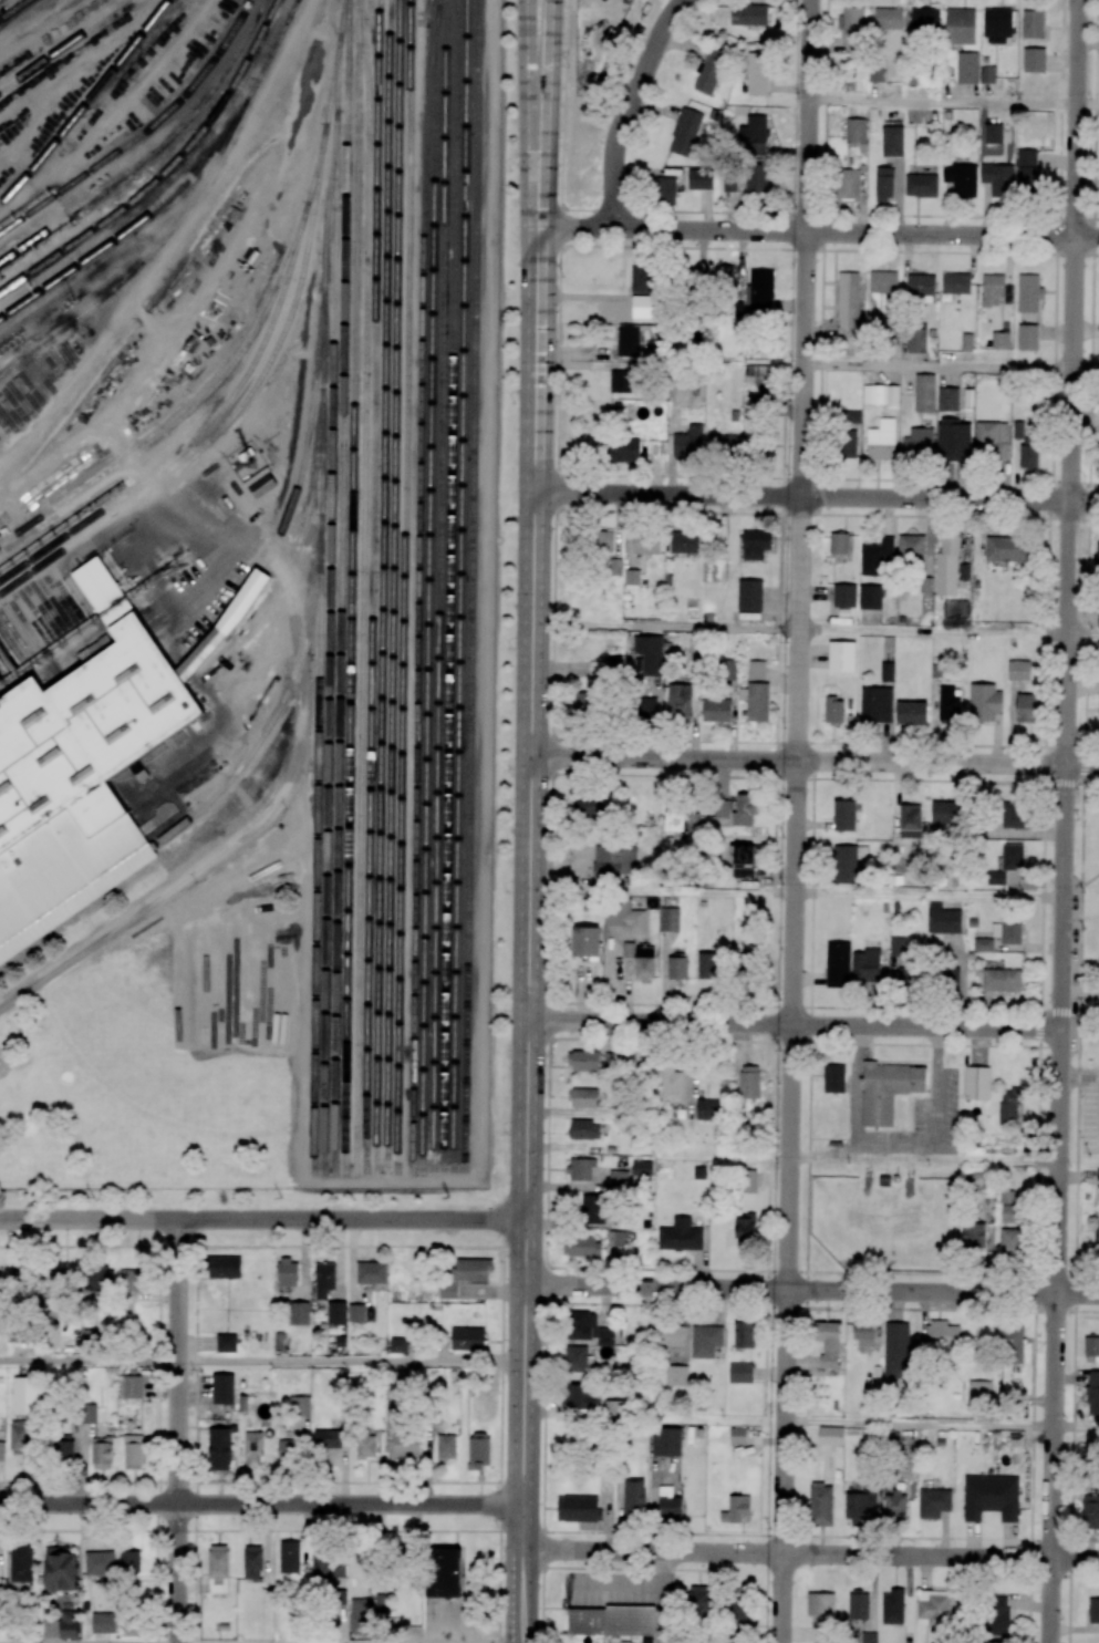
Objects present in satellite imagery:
railway: (15, 10)
railway: (436, 13)
building: (748, 14)
building: (889, 19)
building: (925, 20)
building: (851, 21)
building: (1033, 23)
railway: (341, 24)
building: (997, 25)
building: (960, 27)
railway: (65, 44)
railway: (272, 50)
building: (1034, 60)
building: (967, 68)
road: (527, 69)
road: (543, 69)
building: (709, 70)
building: (757, 73)
building: (875, 73)
building: (987, 74)
railway: (335, 85)
railway: (329, 100)
road: (943, 103)
railway: (85, 104)
road: (1088, 105)
road: (630, 107)
road: (822, 124)
building: (685, 130)
building: (856, 131)
building: (993, 133)
railway: (143, 134)
building: (751, 134)
railway: (153, 152)
building: (1027, 168)
railway: (164, 169)
building: (754, 175)
building: (699, 178)
building: (997, 178)
building: (727, 179)
building: (961, 179)
building: (847, 185)
building: (883, 185)
building: (921, 185)
railway: (309, 188)
building: (665, 192)
railway: (324, 211)
road: (829, 214)
railway: (137, 224)
road: (817, 232)
railway: (160, 241)
road: (566, 246)
road: (832, 249)
building: (724, 275)
building: (643, 279)
building: (883, 281)
building: (920, 283)
building: (955, 283)
building: (994, 290)
building: (758, 292)
building: (1028, 292)
building: (848, 309)
building: (1027, 337)
building: (626, 340)
building: (916, 340)
building: (999, 341)
building: (966, 342)
railway: (321, 354)
railway: (17, 359)
railway: (15, 361)
road: (939, 365)
road: (1086, 369)
building: (758, 376)
building: (620, 381)
building: (924, 393)
building: (880, 394)
building: (947, 399)
building: (756, 405)
railway: (183, 415)
building: (850, 416)
railway: (229, 418)
road: (782, 422)
building: (1018, 430)
railway: (195, 440)
railway: (304, 440)
building: (881, 440)
building: (953, 440)
building: (992, 440)
building: (687, 443)
building: (722, 443)
building: (846, 443)
building: (919, 443)
building: (623, 449)
building: (1028, 456)
road: (744, 476)
road: (1093, 483)
road: (817, 497)
road: (819, 514)
road: (953, 516)
road: (1093, 518)
building: (603, 540)
building: (684, 542)
building: (755, 545)
building: (838, 545)
building: (646, 546)
building: (910, 548)
building: (1005, 548)
building: (1097, 554)
railway: (292, 556)
building: (875, 556)
building: (946, 567)
building: (631, 577)
railway: (459, 583)
railway: (471, 583)
railway: (382, 585)
railway: (438, 585)
railway: (449, 585)
railway: (85, 586)
railway: (372, 586)
railway: (392, 586)
railway: (403, 586)
railway: (341, 587)
railway: (351, 587)
railway: (362, 587)
railway: (80, 589)
building: (110, 590)
railway: (73, 593)
building: (749, 595)
building: (844, 596)
railway: (68, 597)
building: (870, 597)
railway: (418, 598)
railway: (428, 598)
railway: (62, 601)
railway: (56, 604)
railway: (50, 609)
railway: (44, 613)
railway: (39, 617)
building: (1098, 618)
railway: (32, 621)
building: (229, 623)
railway: (229, 626)
road: (666, 627)
railway: (21, 629)
road: (934, 631)
road: (1084, 634)
railway: (17, 635)
railway: (37, 640)
railway: (13, 643)
railway: (330, 649)
building: (97, 651)
railway: (11, 652)
railway: (301, 653)
building: (647, 654)
building: (841, 657)
railway: (8, 661)
railway: (4, 670)
building: (726, 670)
building: (756, 670)
building: (1018, 670)
building: (887, 671)
railway: (1, 676)
road: (532, 679)
road: (776, 685)
building: (678, 701)
building: (585, 702)
building: (758, 702)
building: (984, 702)
building: (875, 704)
building: (950, 704)
railway: (82, 706)
building: (646, 707)
building: (1027, 707)
building: (833, 710)
building: (716, 711)
building: (911, 713)
building: (1098, 720)
railway: (93, 740)
road: (797, 743)
road: (815, 762)
road: (817, 778)
building: (82, 781)
road: (1091, 784)
road: (280, 797)
building: (587, 807)
building: (722, 809)
building: (745, 810)
building: (945, 812)
building: (844, 815)
building: (1013, 815)
road: (550, 820)
building: (909, 820)
road: (1043, 820)
road: (1065, 820)
road: (1082, 820)
building: (675, 821)
road: (797, 821)
building: (742, 854)
railway: (317, 855)
building: (1013, 857)
building: (613, 861)
building: (846, 864)
building: (743, 872)
building: (995, 877)
road: (662, 892)
road: (929, 897)
railway: (75, 898)
building: (625, 916)
building: (670, 919)
building: (943, 919)
building: (1007, 931)
building: (585, 941)
building: (983, 944)
building: (898, 949)
building: (628, 950)
building: (644, 963)
building: (837, 964)
building: (708, 965)
building: (865, 965)
building: (677, 968)
building: (948, 979)
building: (1000, 980)
road: (813, 1008)
road: (795, 1026)
park: (184, 1027)
road: (809, 1042)
road: (812, 1043)
building: (583, 1061)
building: (833, 1078)
building: (749, 1082)
building: (976, 1083)
building: (672, 1084)
road: (934, 1087)
road: (851, 1088)
building: (887, 1091)
building: (583, 1097)
building: (1008, 1106)
building: (707, 1109)
building: (584, 1129)
road: (862, 1150)
building: (641, 1168)
building: (580, 1169)
building: (1097, 1176)
building: (618, 1180)
building: (748, 1181)
building: (588, 1203)
building: (1009, 1213)
road: (89, 1219)
road: (352, 1220)
building: (746, 1229)
building: (680, 1236)
building: (973, 1236)
building: (1097, 1240)
building: (1010, 1241)
road: (469, 1244)
building: (583, 1246)
building: (221, 1267)
road: (822, 1271)
building: (288, 1272)
building: (371, 1272)
building: (465, 1274)
building: (97, 1279)
building: (324, 1279)
building: (133, 1280)
building: (55, 1281)
building: (0, 1282)
road: (767, 1286)
road: (811, 1291)
road: (822, 1306)
building: (336, 1312)
building: (356, 1312)
building: (298, 1313)
building: (588, 1329)
building: (744, 1334)
building: (863, 1334)
building: (942, 1334)
building: (668, 1335)
building: (467, 1339)
building: (705, 1341)
building: (227, 1343)
building: (828, 1343)
building: (1010, 1344)
building: (398, 1345)
building: (1091, 1347)
building: (895, 1352)
building: (576, 1358)
road: (89, 1362)
road: (352, 1362)
building: (740, 1373)
building: (676, 1375)
building: (132, 1386)
building: (222, 1388)
building: (978, 1393)
building: (1092, 1393)
building: (27, 1396)
building: (576, 1396)
building: (299, 1405)
building: (614, 1407)
building: (392, 1408)
building: (90, 1414)
road: (920, 1424)
road: (1076, 1427)
road: (525, 1430)
road: (178, 1432)
building: (20, 1436)
building: (737, 1436)
building: (830, 1436)
building: (329, 1438)
building: (665, 1441)
building: (406, 1445)
building: (64, 1446)
building: (365, 1447)
building: (446, 1447)
building: (219, 1448)
building: (253, 1448)
building: (284, 1449)
building: (1, 1450)
building: (479, 1450)
building: (133, 1451)
building: (101, 1453)
building: (633, 1496)
building: (991, 1497)
building: (668, 1502)
building: (933, 1502)
road: (261, 1503)
building: (861, 1503)
building: (820, 1505)
building: (894, 1505)
building: (577, 1508)
building: (737, 1509)
building: (1090, 1512)
road: (806, 1536)
building: (290, 1554)
road: (811, 1554)
building: (404, 1556)
building: (101, 1561)
building: (129, 1561)
building: (21, 1562)
building: (252, 1562)
building: (330, 1567)
road: (623, 1568)
building: (60, 1569)
building: (218, 1569)
building: (444, 1572)
road: (498, 1573)
road: (1084, 1578)
building: (698, 1598)
building: (381, 1602)
building: (858, 1604)
building: (820, 1605)
building: (892, 1606)
building: (932, 1608)
building: (737, 1609)
building: (1093, 1610)
building: (361, 1615)
building: (997, 1615)
building: (1, 1616)
building: (103, 1621)
building: (611, 1621)
building: (69, 1624)
building: (225, 1625)
building: (133, 1626)
building: (869, 1637)
building: (996, 1642)

